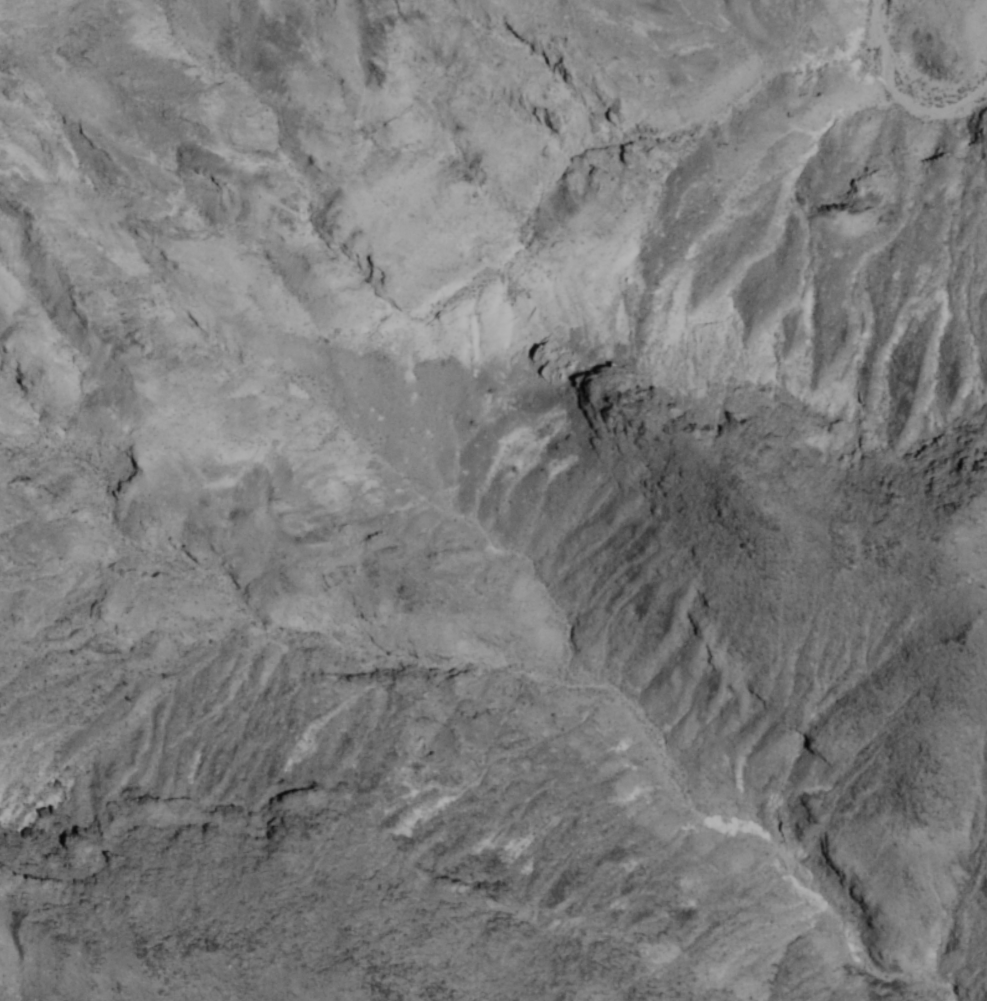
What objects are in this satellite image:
road: (903, 92)

